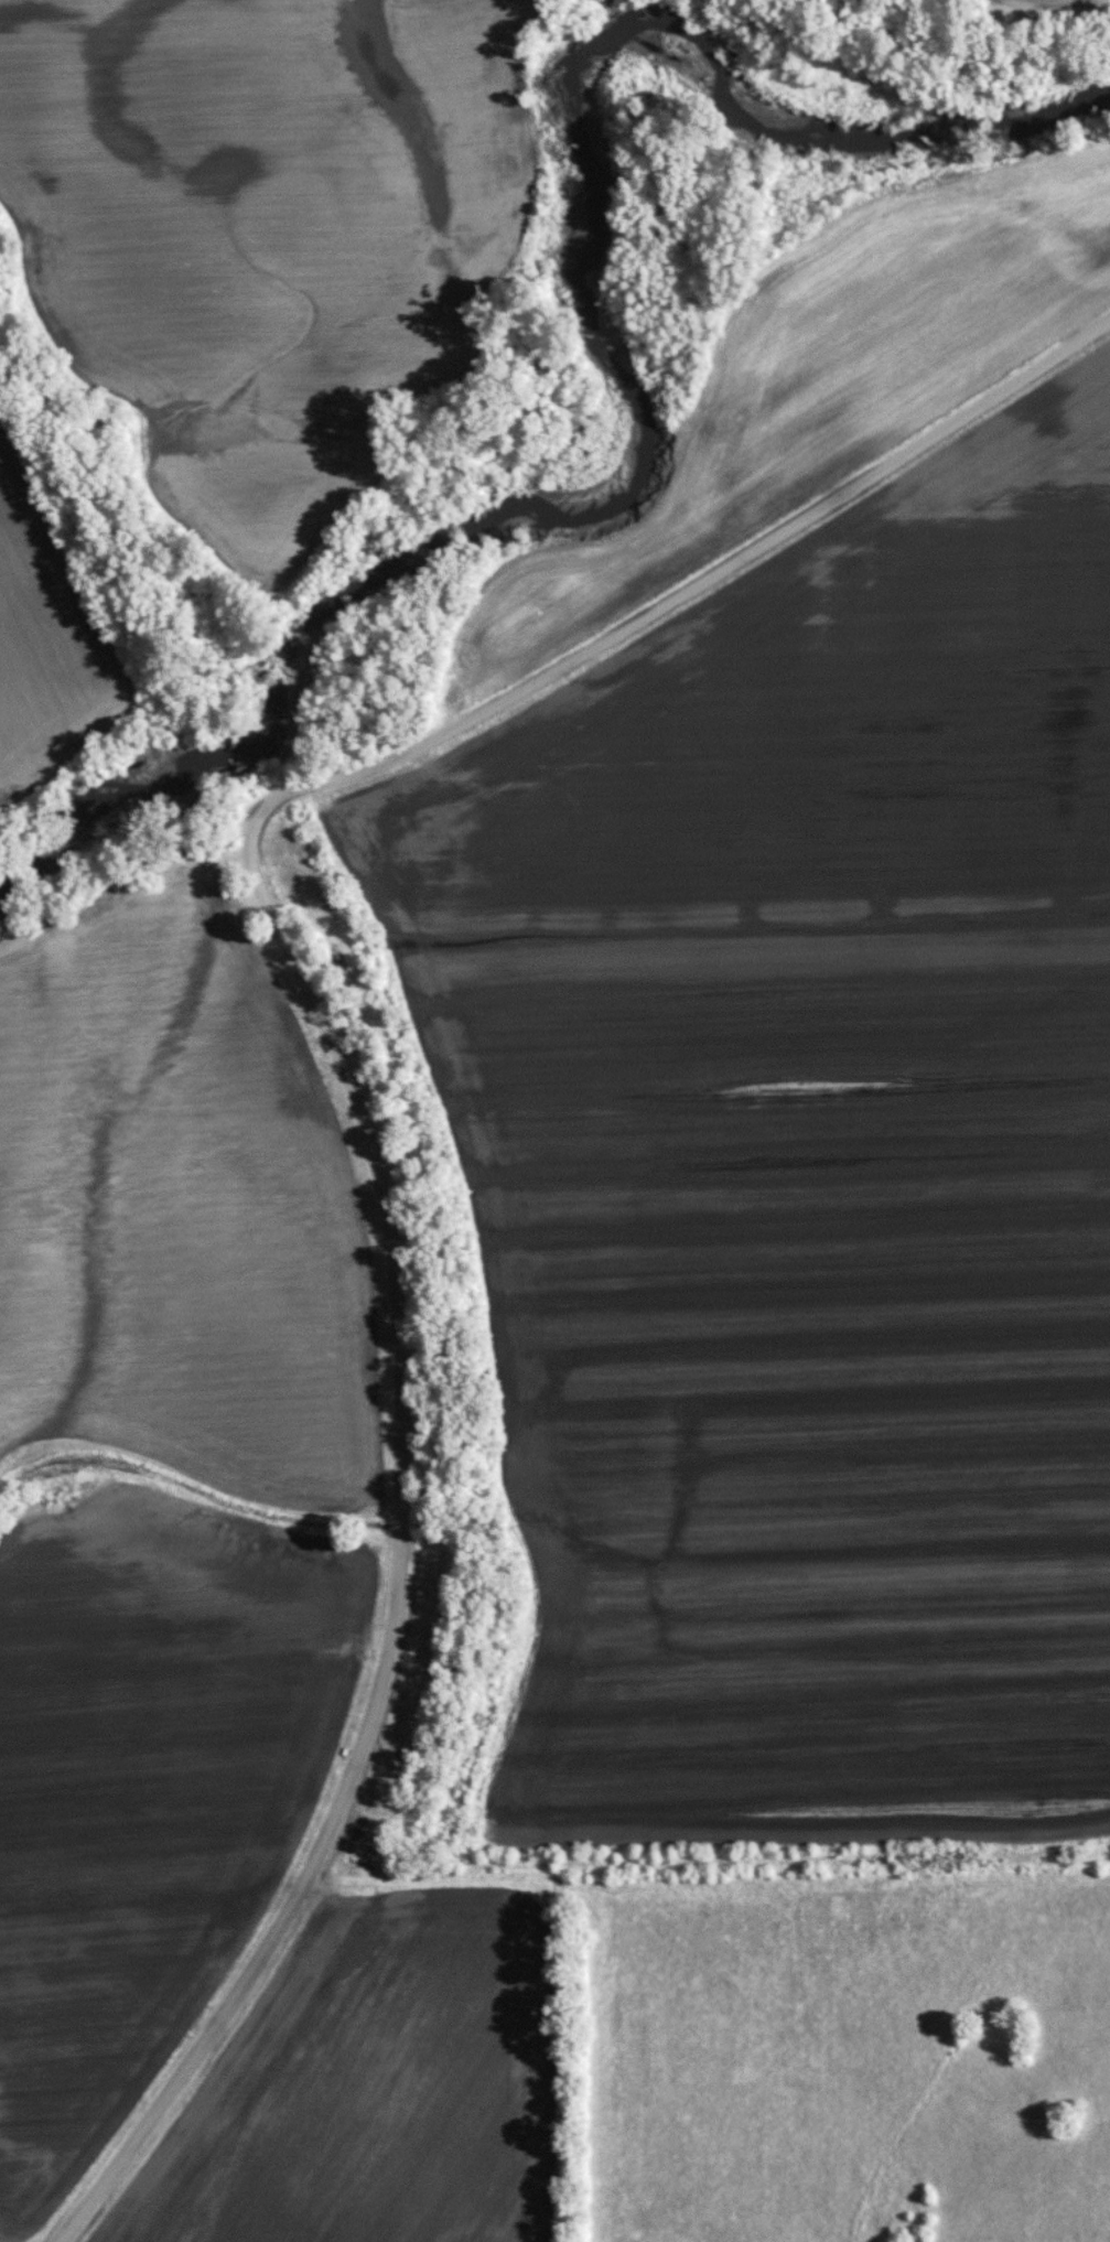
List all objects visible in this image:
road: (734, 562)
road: (402, 1511)

